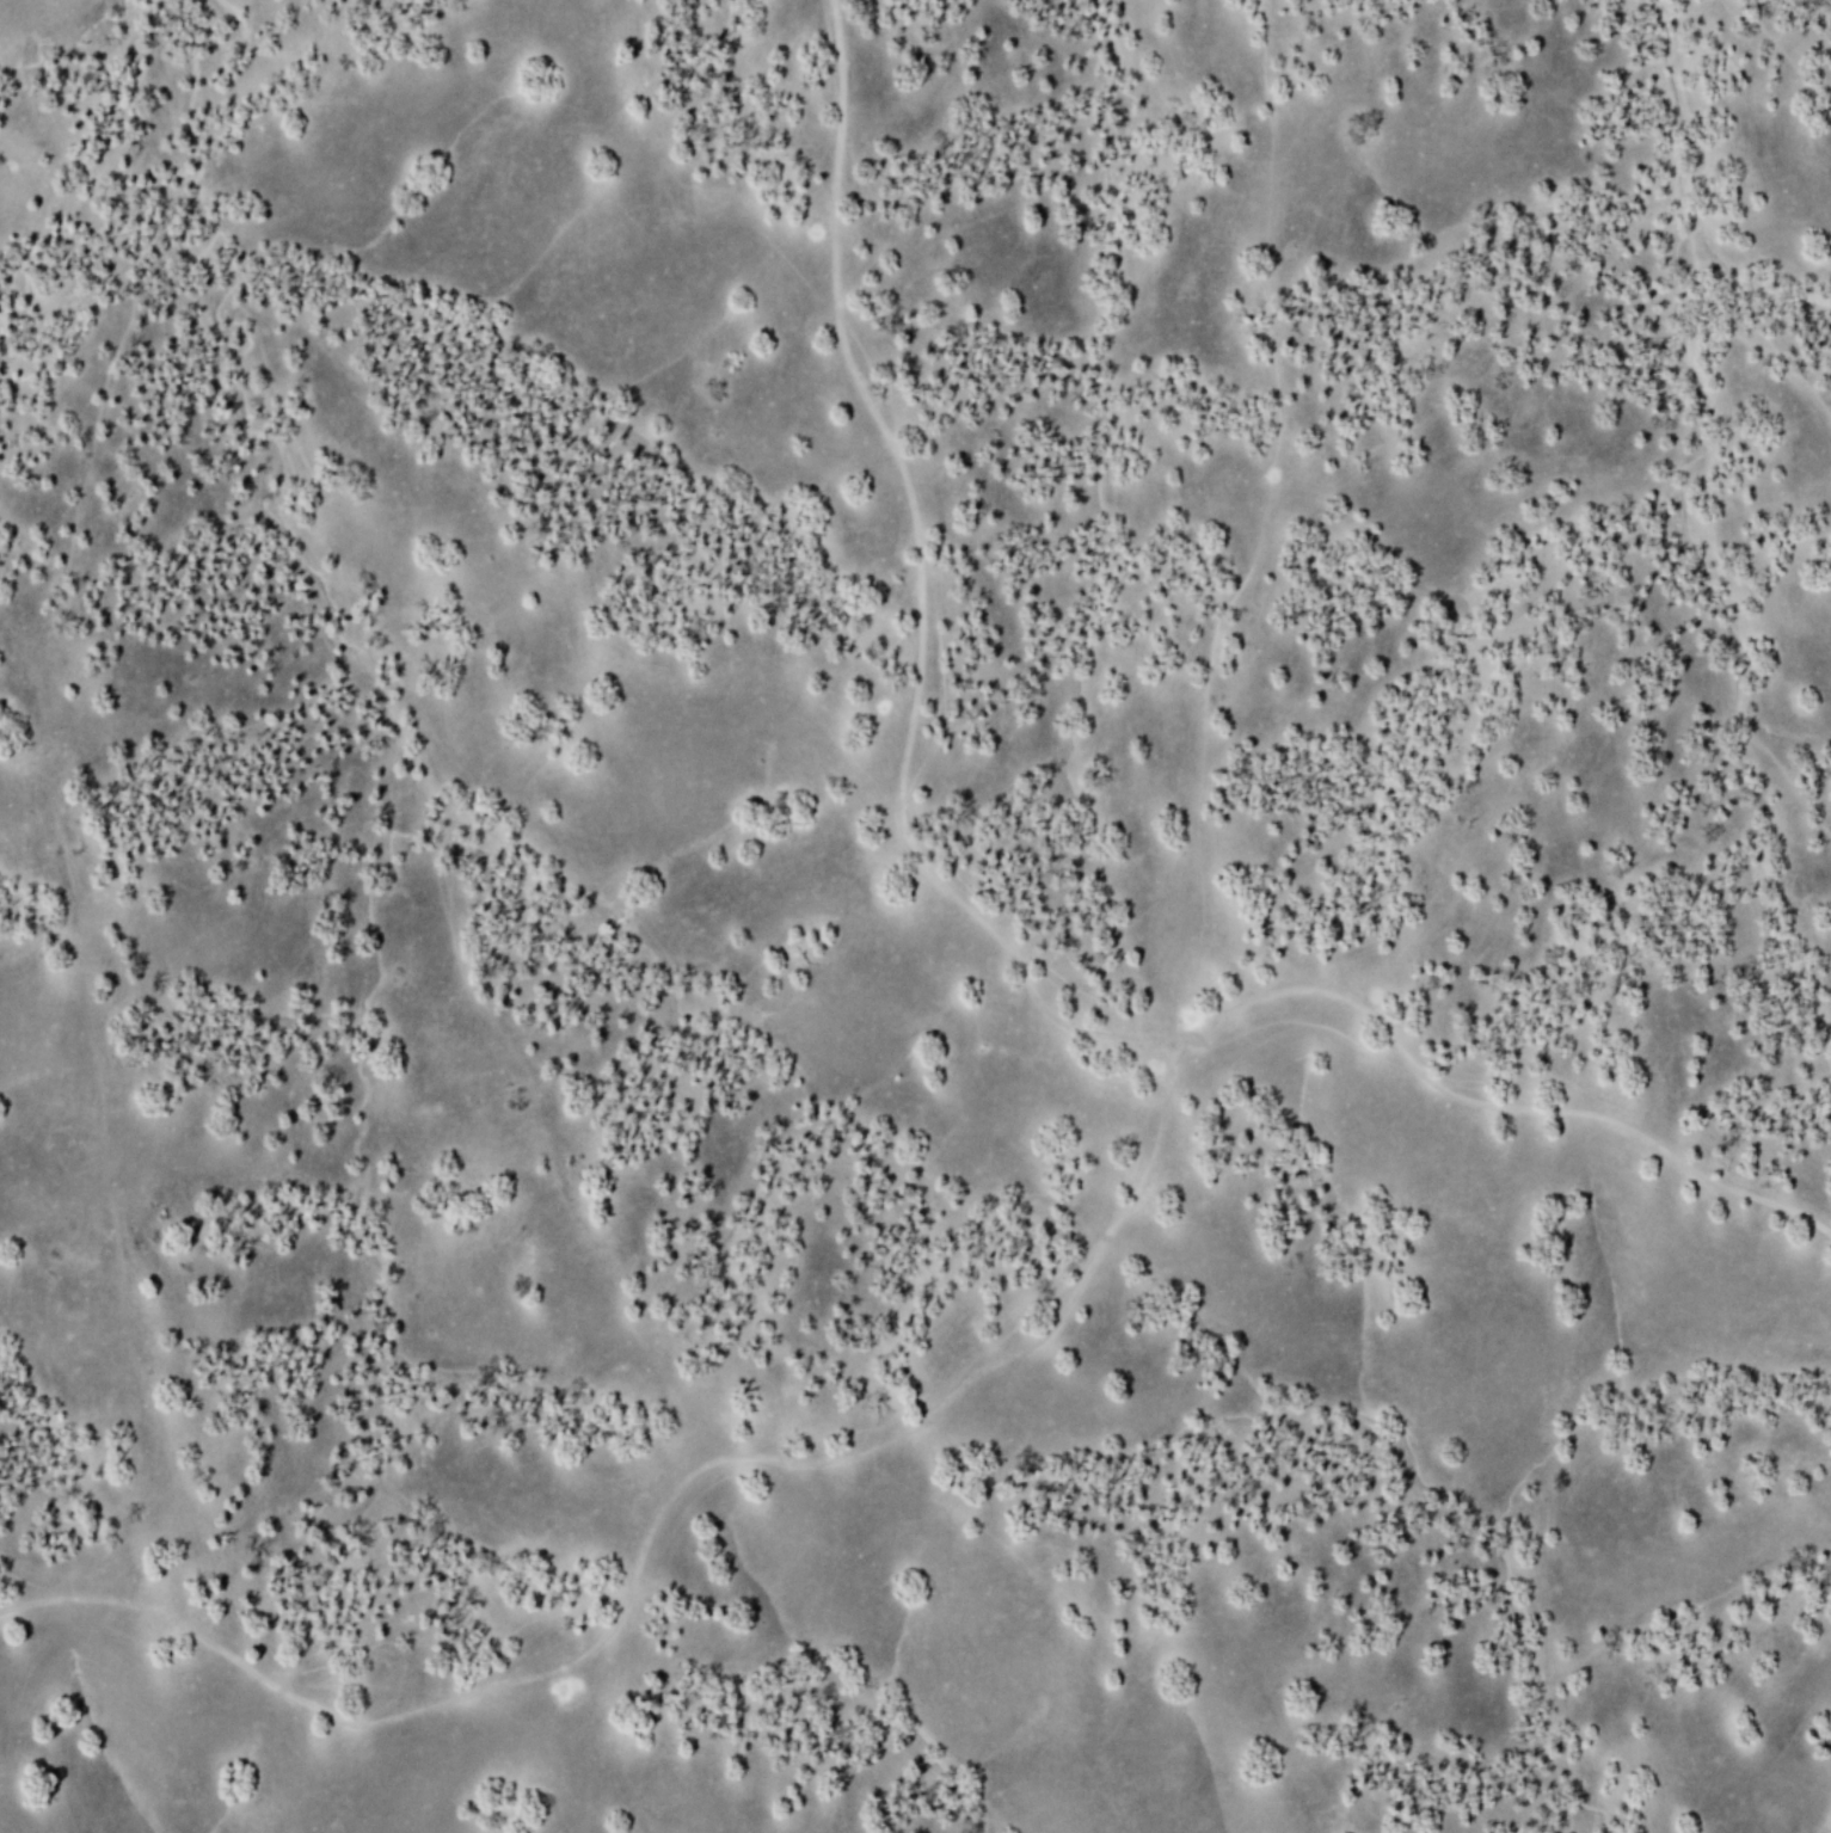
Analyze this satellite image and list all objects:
road: (922, 601)
road: (1506, 1103)

